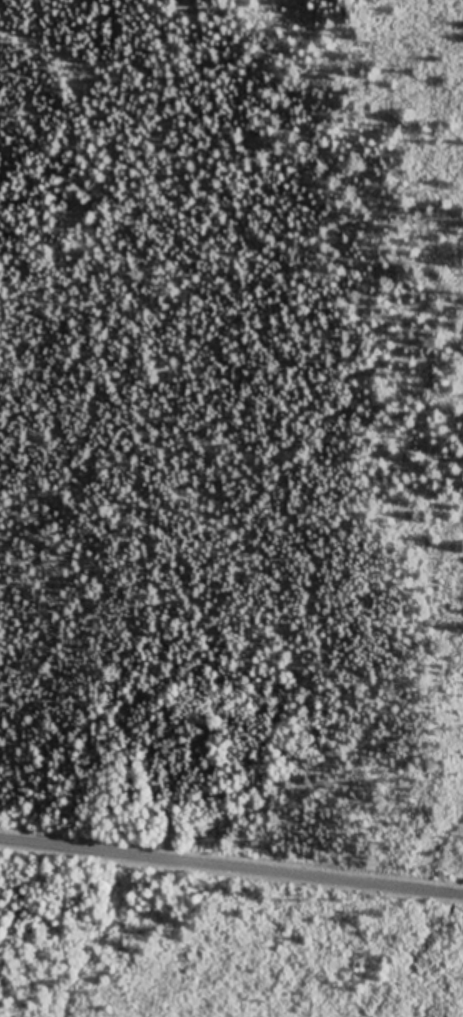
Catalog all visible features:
road: (231, 861)

